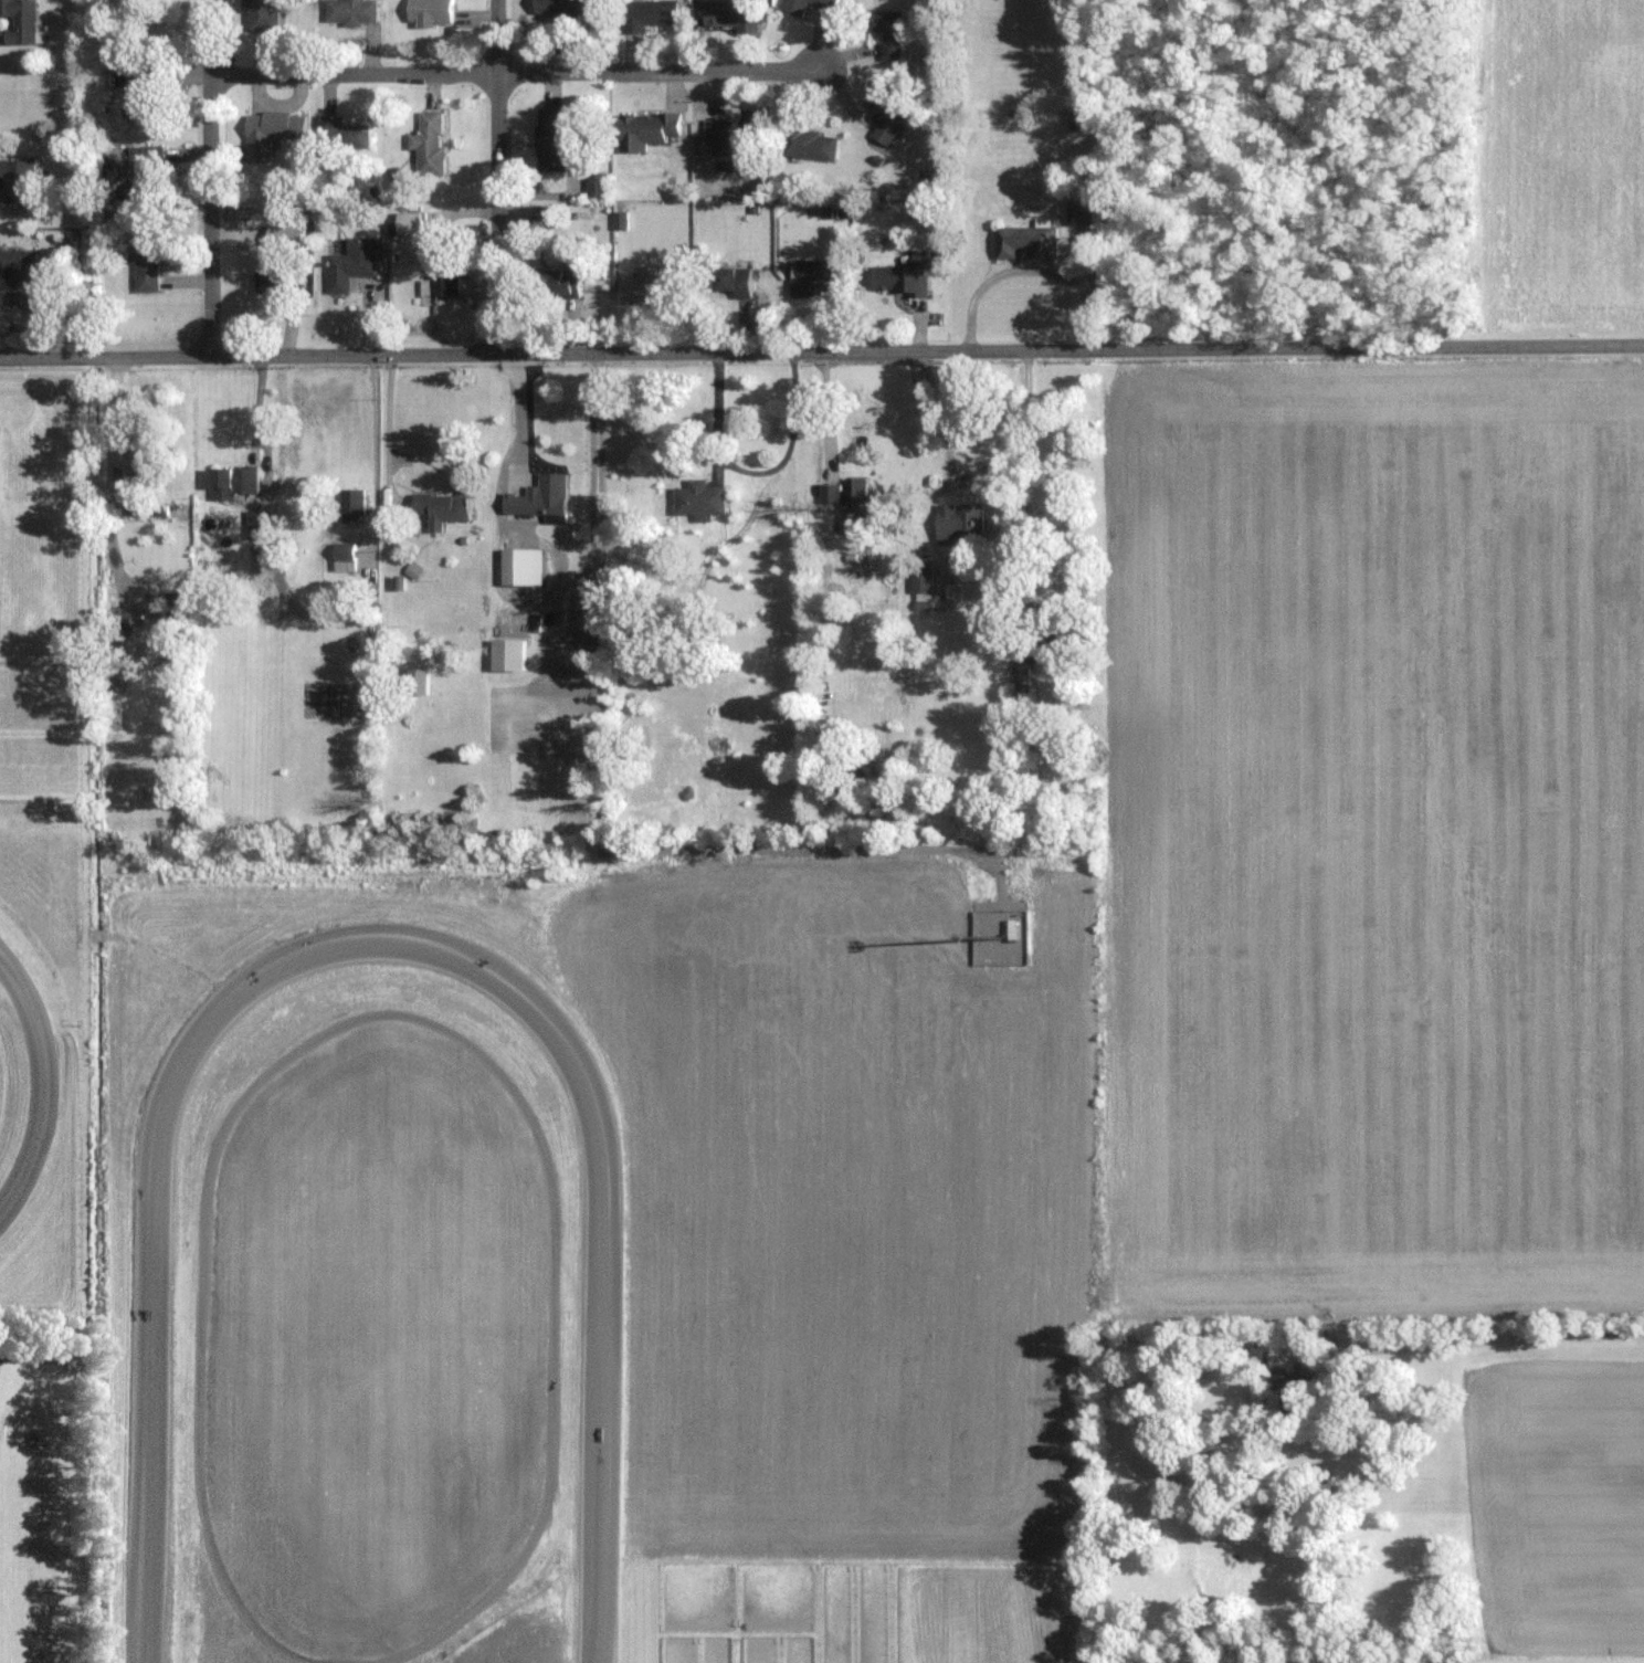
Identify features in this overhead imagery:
building: (558, 6)
building: (793, 6)
building: (350, 12)
building: (429, 12)
building: (647, 13)
building: (262, 14)
building: (730, 14)
building: (20, 21)
building: (885, 31)
road: (514, 71)
building: (149, 87)
building: (886, 112)
building: (645, 129)
building: (270, 131)
building: (344, 131)
building: (551, 138)
building: (731, 138)
building: (429, 141)
building: (807, 144)
building: (148, 159)
crop: (1562, 165)
road: (499, 176)
road: (212, 177)
building: (19, 180)
building: (597, 183)
building: (1079, 212)
building: (408, 223)
building: (283, 238)
building: (1025, 242)
building: (145, 262)
building: (355, 264)
building: (442, 272)
building: (19, 275)
building: (809, 275)
building: (909, 276)
building: (731, 281)
building: (560, 282)
building: (278, 283)
building: (649, 284)
road: (821, 350)
road: (826, 409)
road: (518, 410)
road: (114, 415)
road: (376, 456)
building: (144, 464)
road: (600, 474)
building: (233, 482)
road: (1023, 494)
building: (849, 495)
building: (698, 498)
building: (137, 504)
building: (351, 505)
building: (539, 505)
building: (443, 509)
building: (959, 523)
building: (260, 525)
building: (344, 557)
building: (521, 567)
building: (921, 580)
building: (1050, 621)
building: (417, 680)
building: (71, 804)
crop: (1372, 839)
road: (1467, 1340)
building: (1292, 1393)

